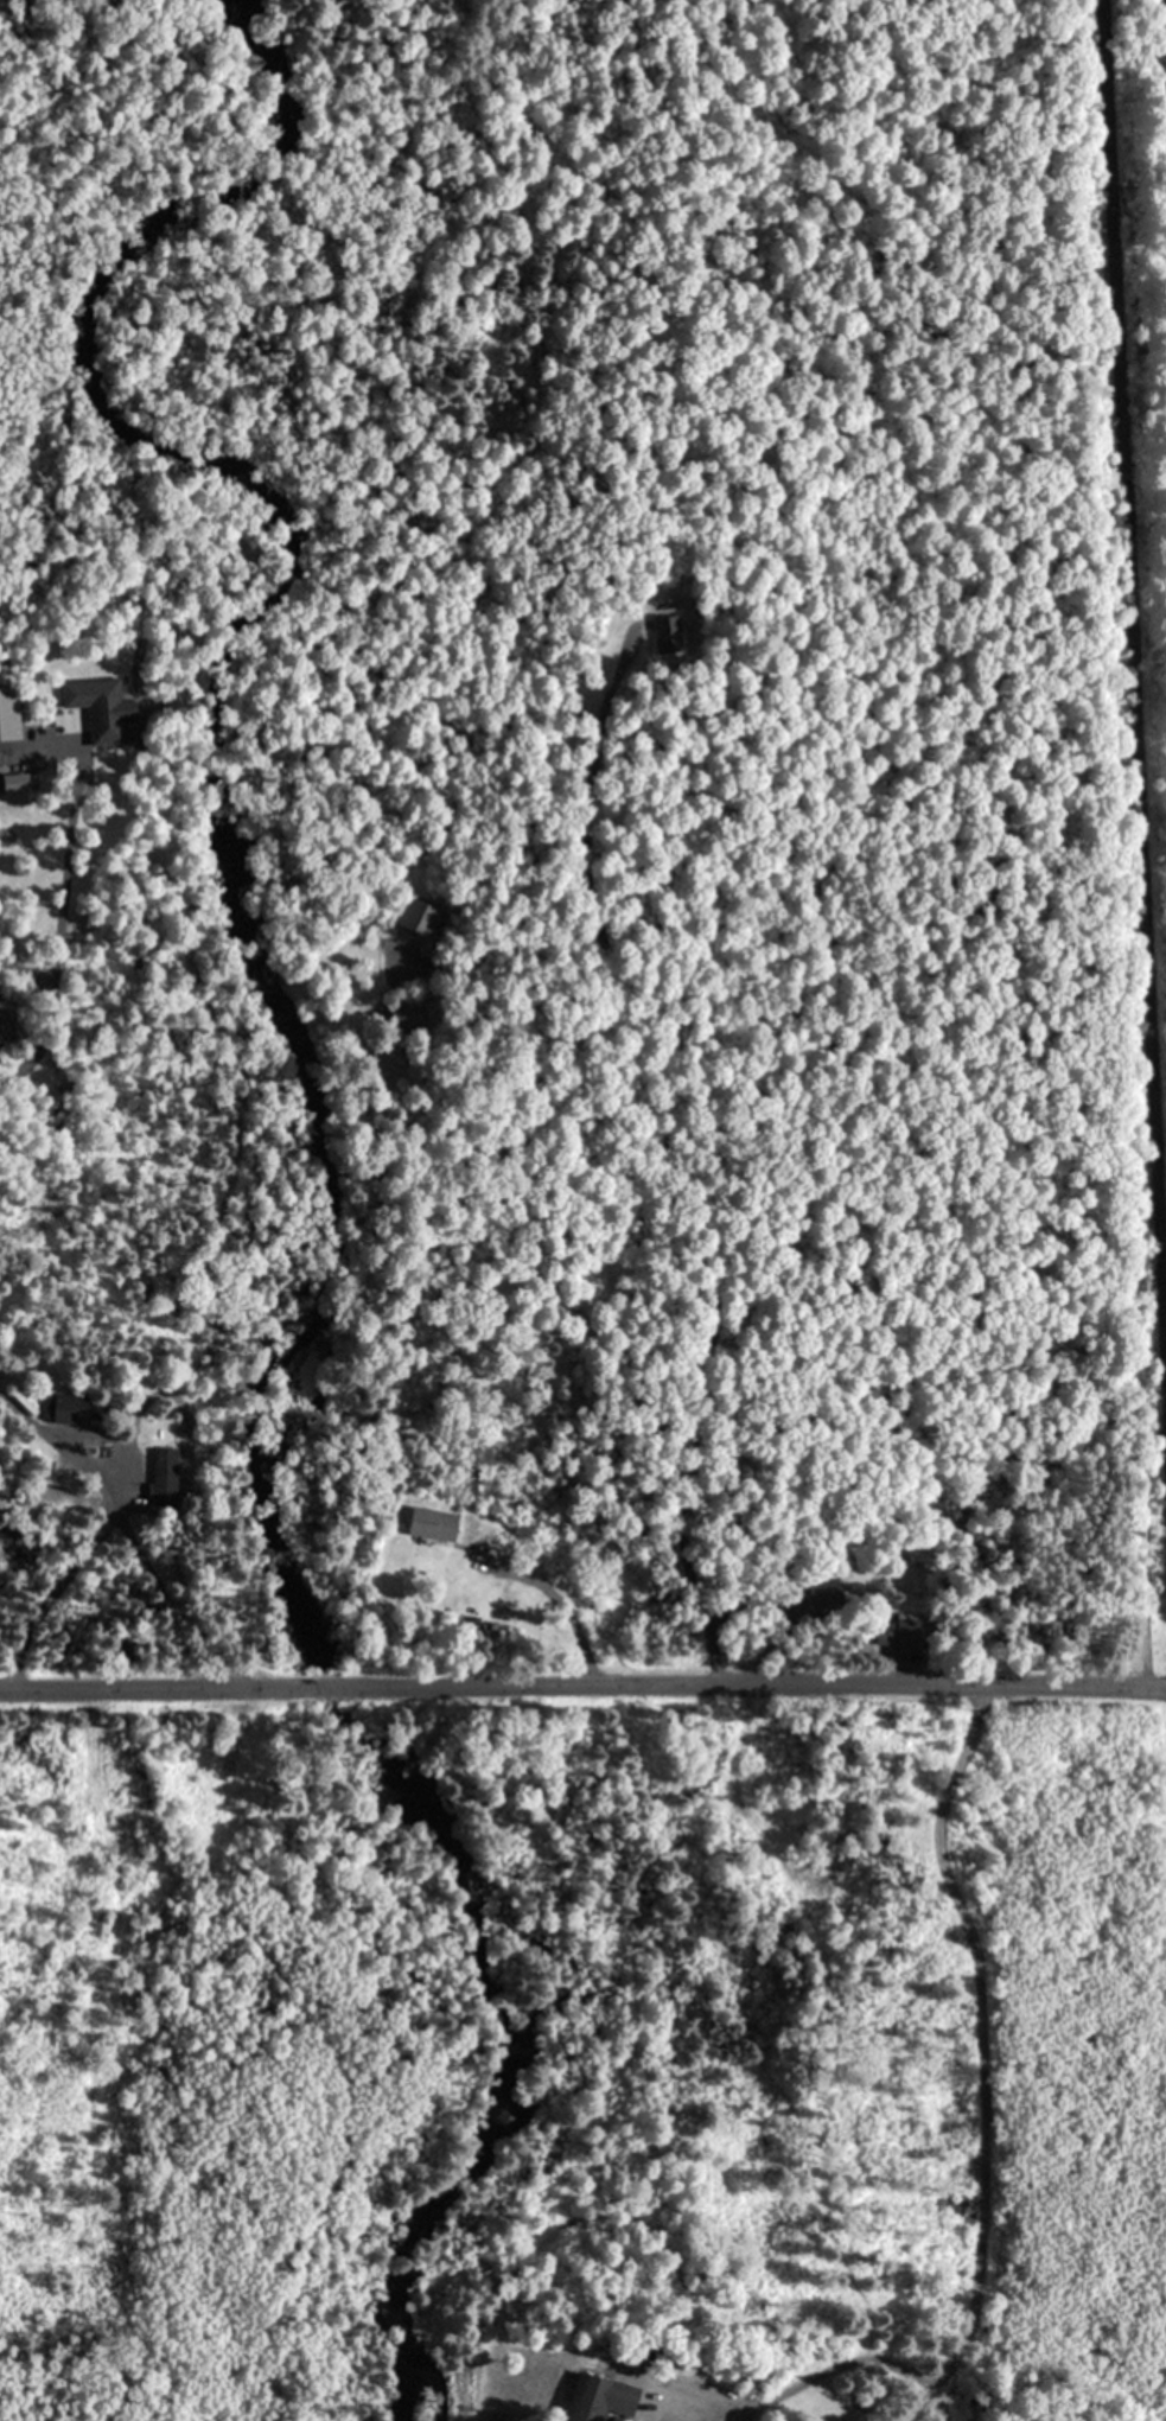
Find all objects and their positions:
building: (665, 632)
building: (98, 706)
building: (8, 713)
river: (210, 721)
road: (1130, 741)
road: (60, 936)
road: (673, 1166)
building: (66, 1406)
building: (163, 1466)
building: (432, 1521)
road: (98, 1525)
road: (561, 1605)
building: (900, 1636)
road: (771, 1682)
road: (337, 1687)
road: (149, 1688)
river: (499, 2017)
road: (975, 2056)
road: (777, 2394)
building: (715, 2406)

